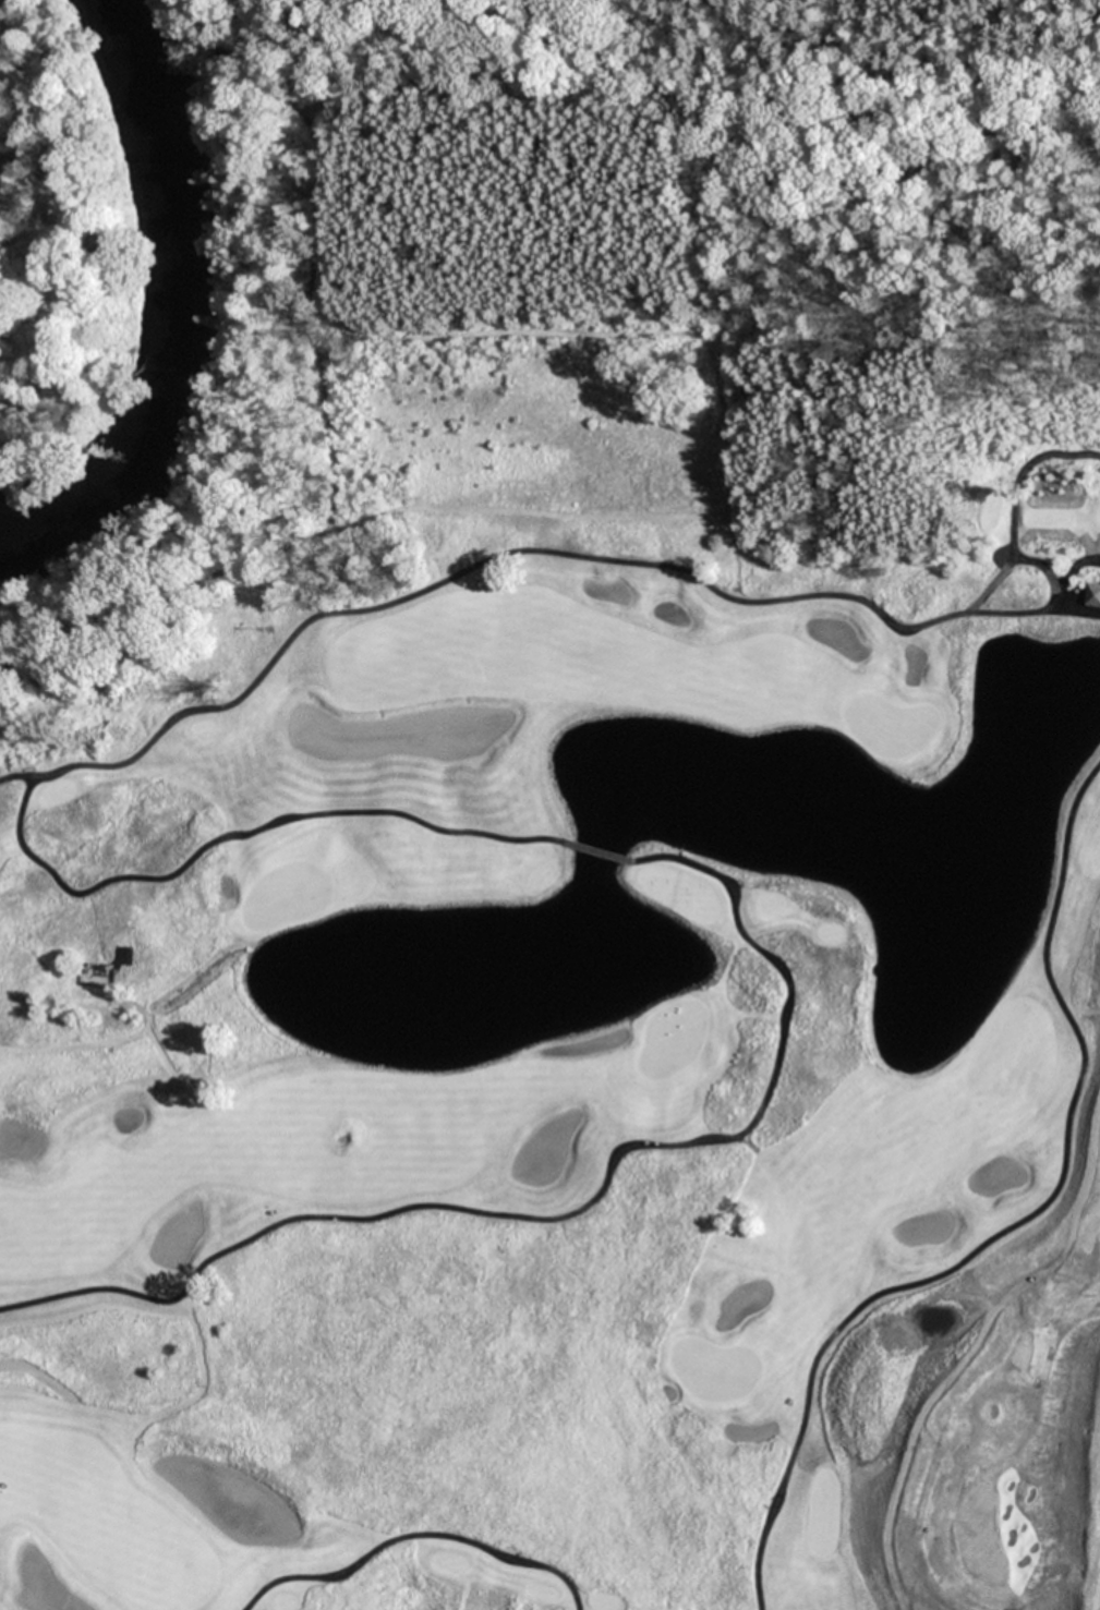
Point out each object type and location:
river: (197, 316)
building: (1093, 594)
road: (255, 681)
park: (891, 724)
road: (597, 852)
park: (585, 937)
road: (567, 1212)
road: (1014, 1226)
road: (413, 1536)

